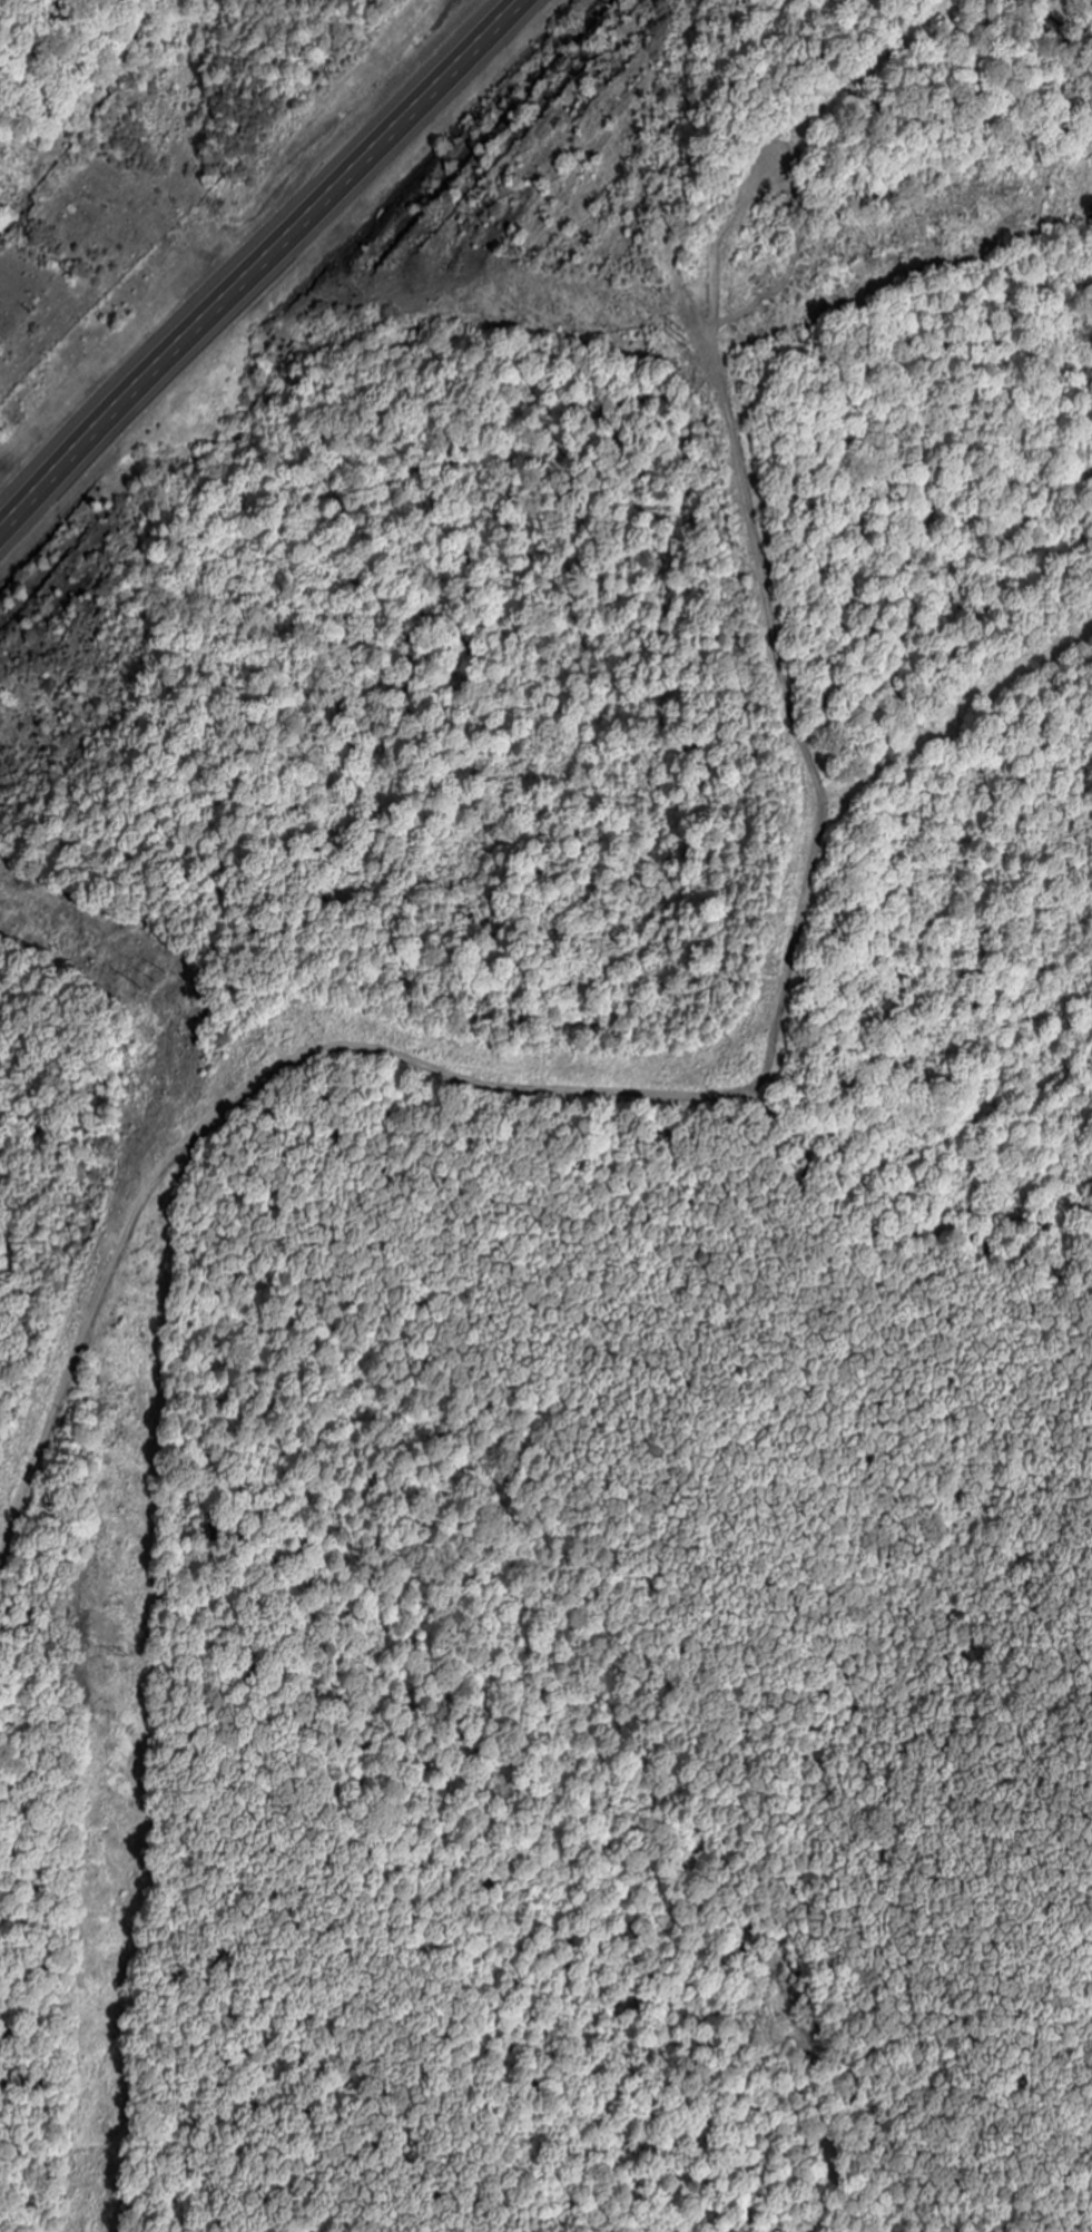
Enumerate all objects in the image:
road: (95, 125)
road: (260, 263)

